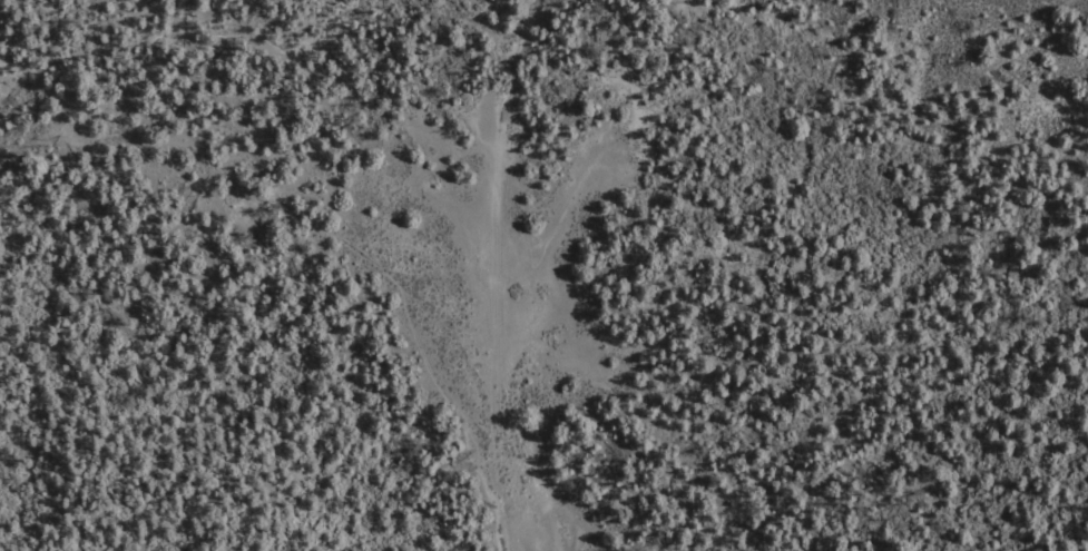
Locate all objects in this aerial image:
road: (305, 222)
road: (496, 274)

